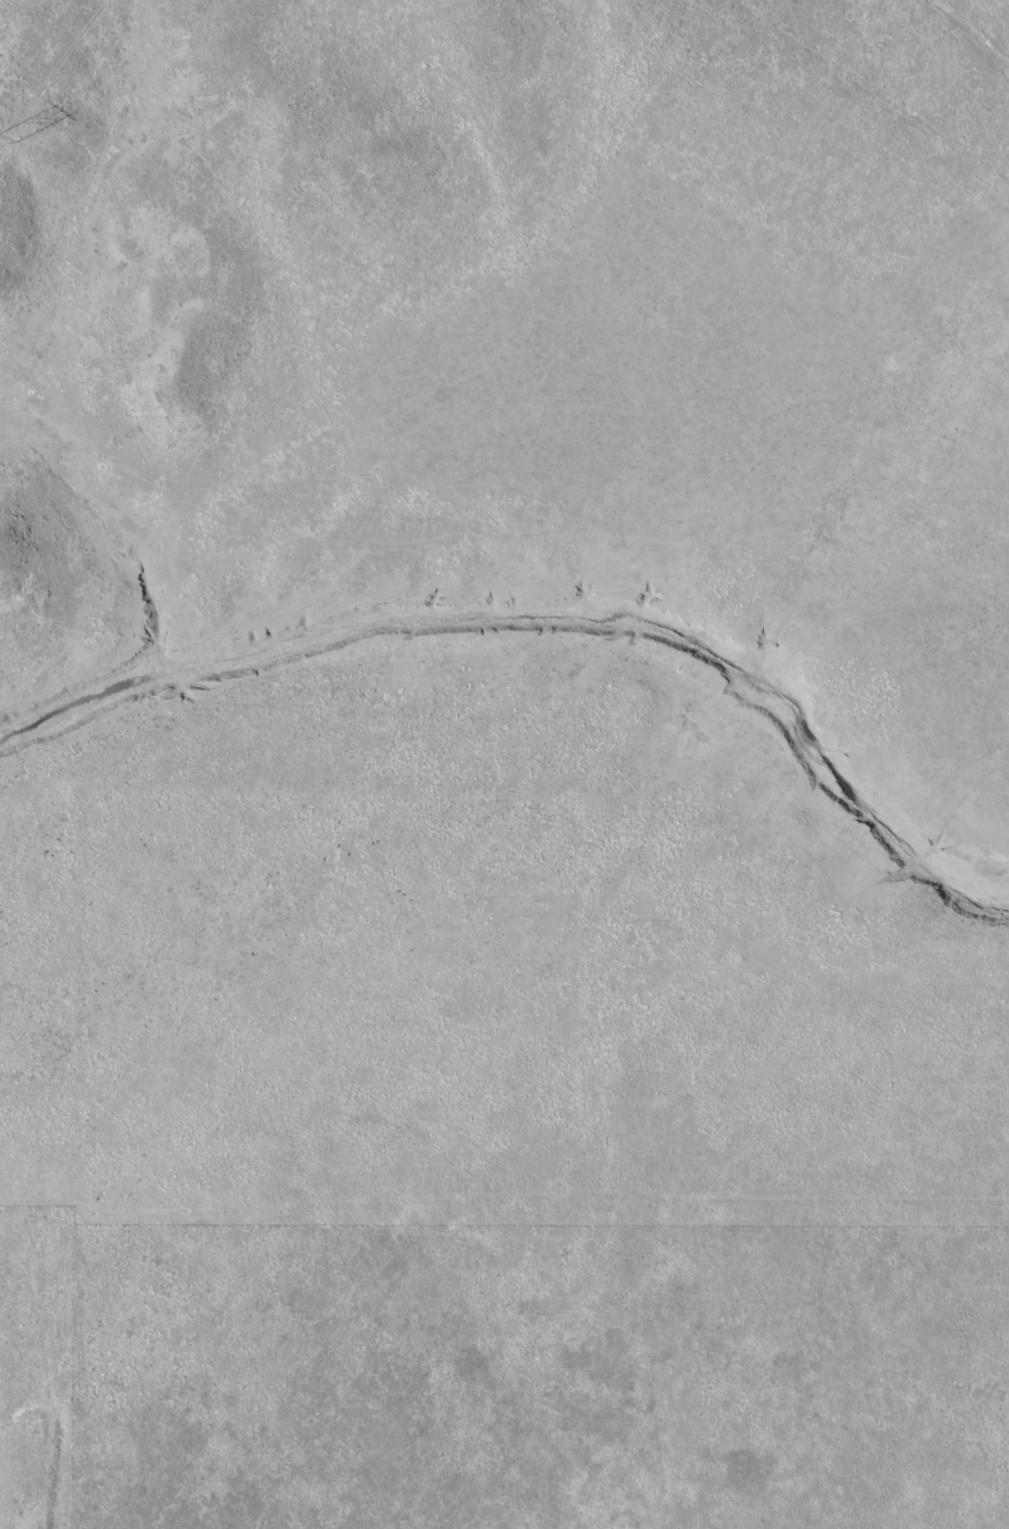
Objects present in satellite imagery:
power tower: (0, 139)

